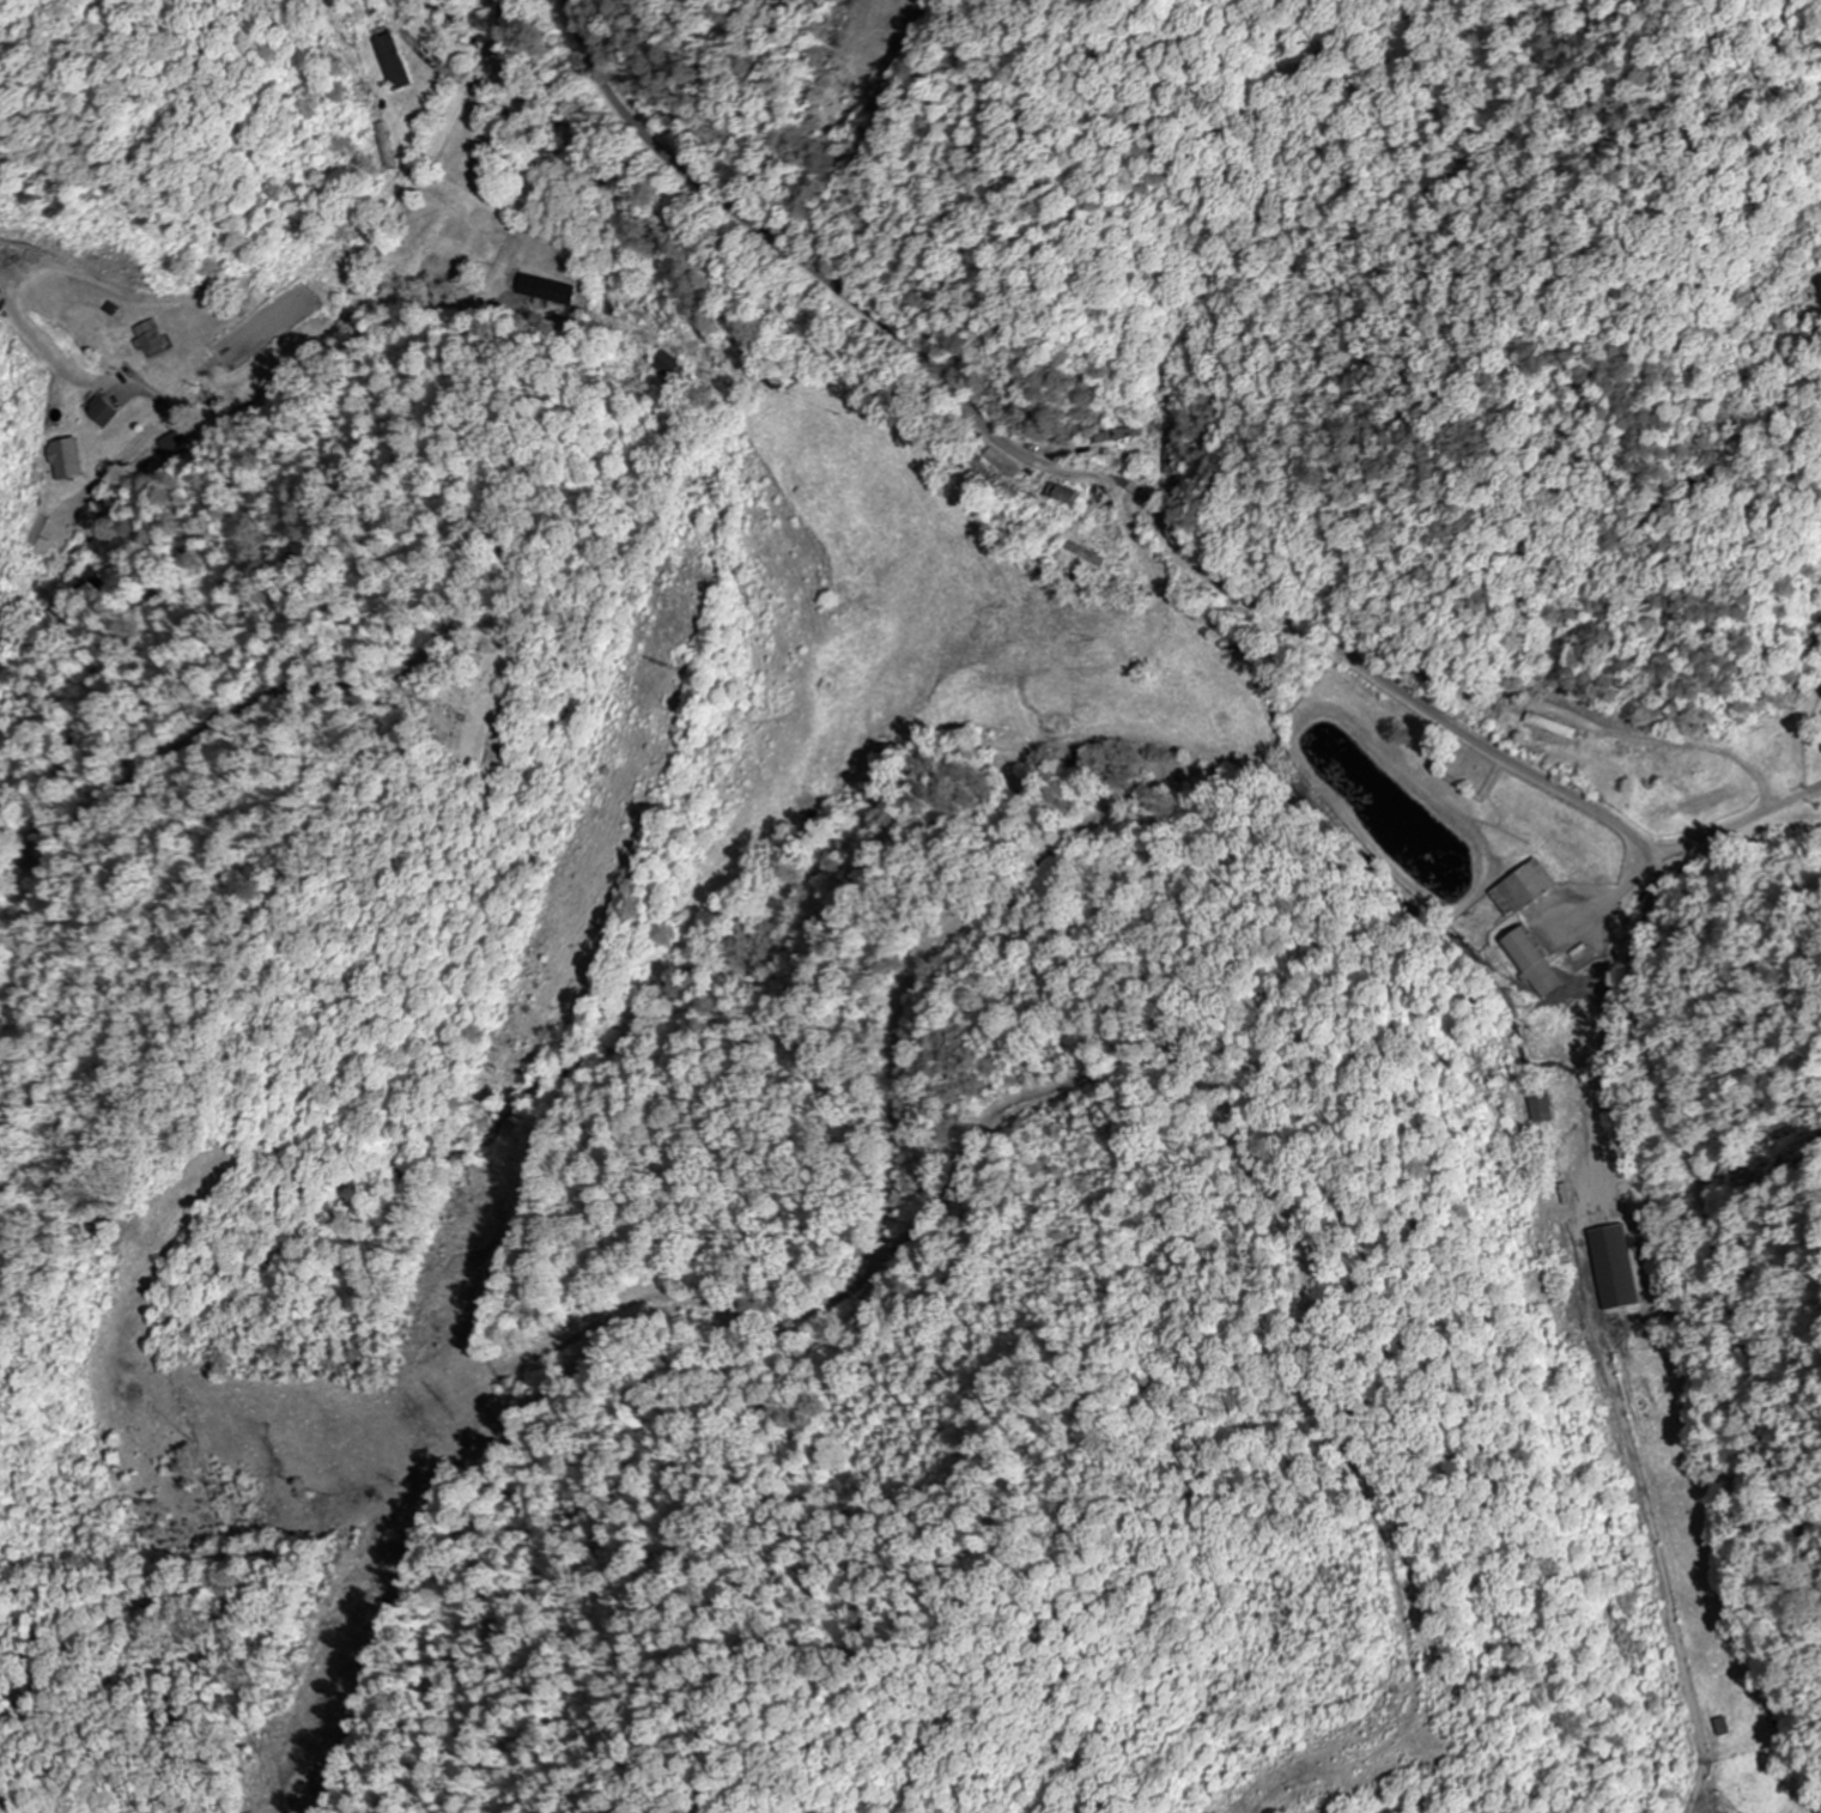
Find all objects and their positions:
building: (388, 62)
building: (381, 147)
building: (491, 153)
building: (437, 273)
building: (542, 290)
building: (147, 340)
road: (312, 360)
building: (101, 414)
building: (1111, 436)
building: (1176, 450)
building: (62, 461)
building: (1058, 496)
building: (1084, 556)
building: (2, 610)
road: (1371, 669)
building: (1550, 732)
building: (1531, 962)
building: (1535, 1106)
building: (1610, 1267)

